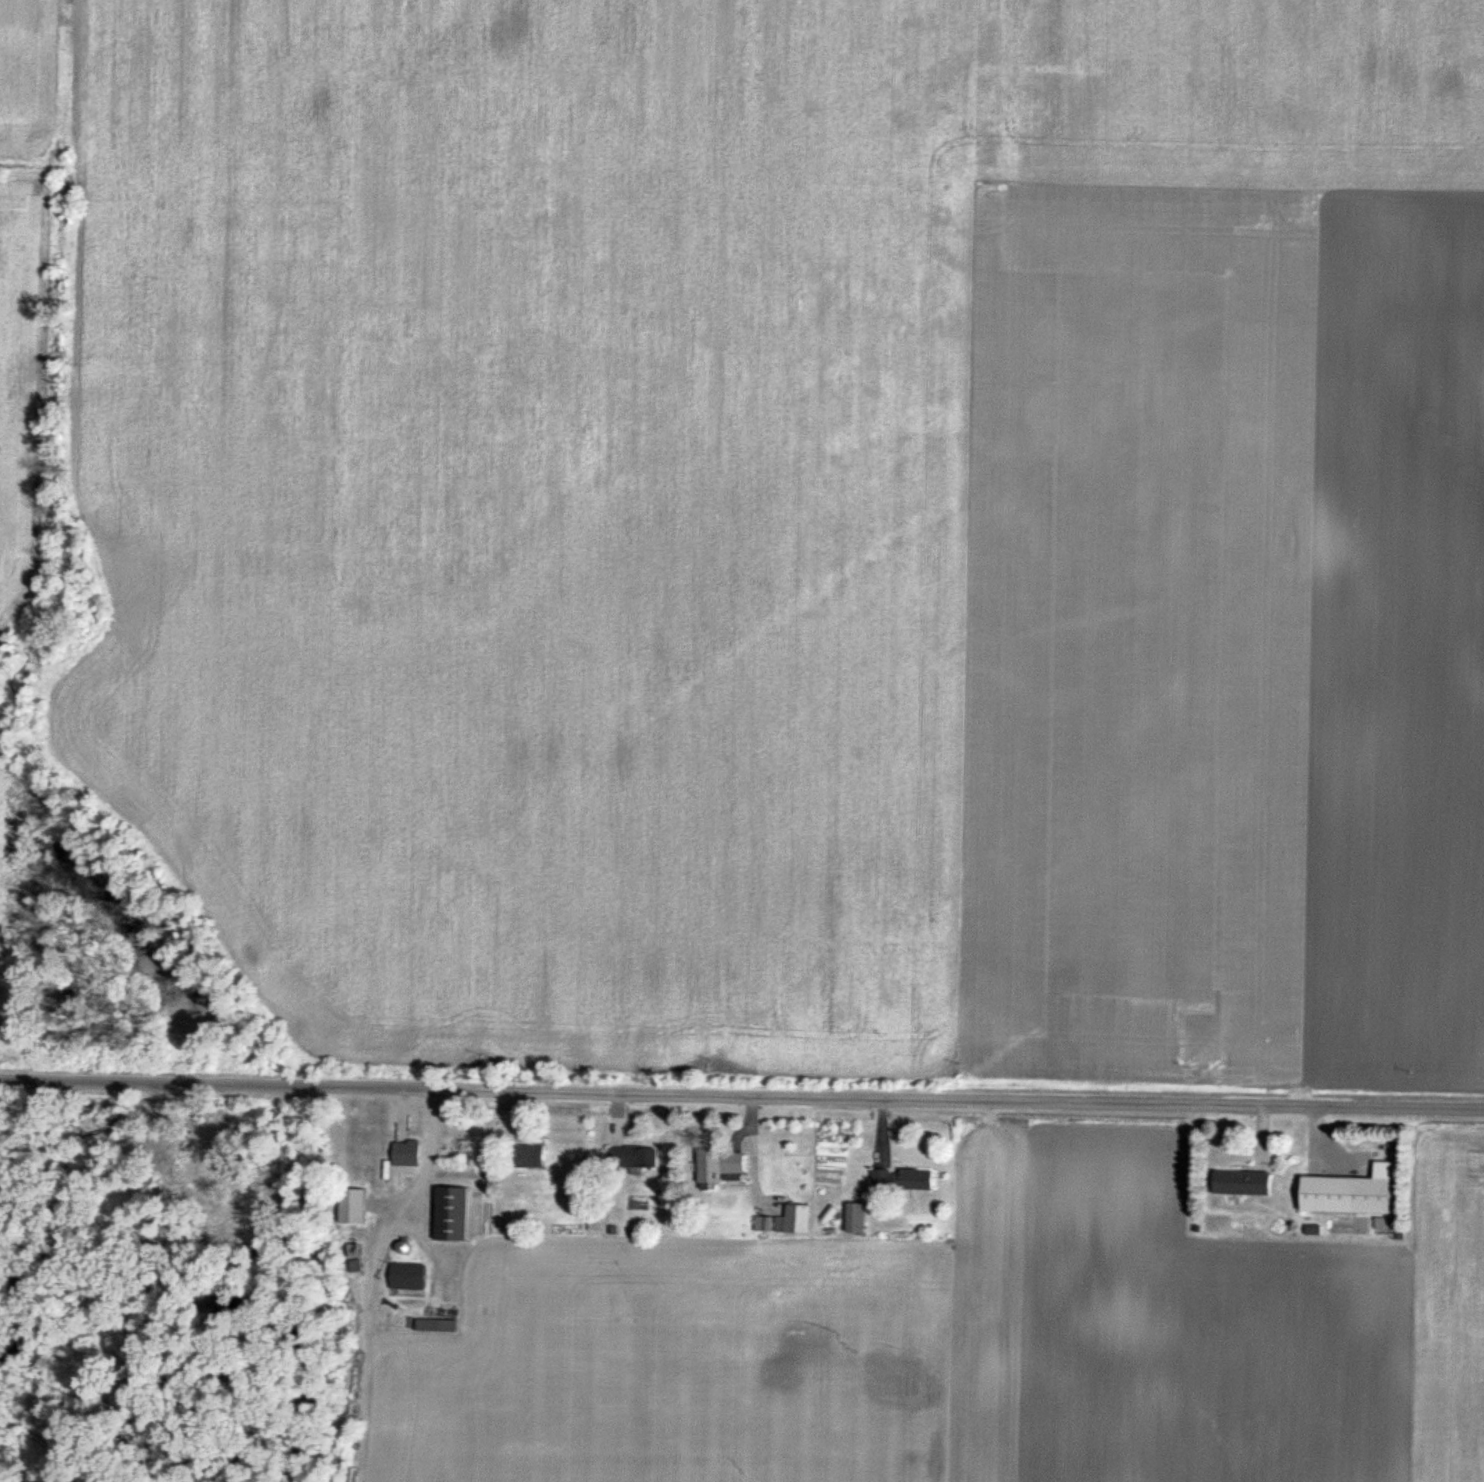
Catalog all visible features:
road: (742, 1090)
building: (381, 1151)
building: (527, 1156)
building: (633, 1156)
building: (721, 1165)
building: (902, 1179)
building: (1241, 1183)
building: (1345, 1196)
building: (352, 1205)
building: (450, 1213)
building: (855, 1217)
building: (786, 1220)
building: (355, 1265)
building: (407, 1279)
river: (220, 1287)

